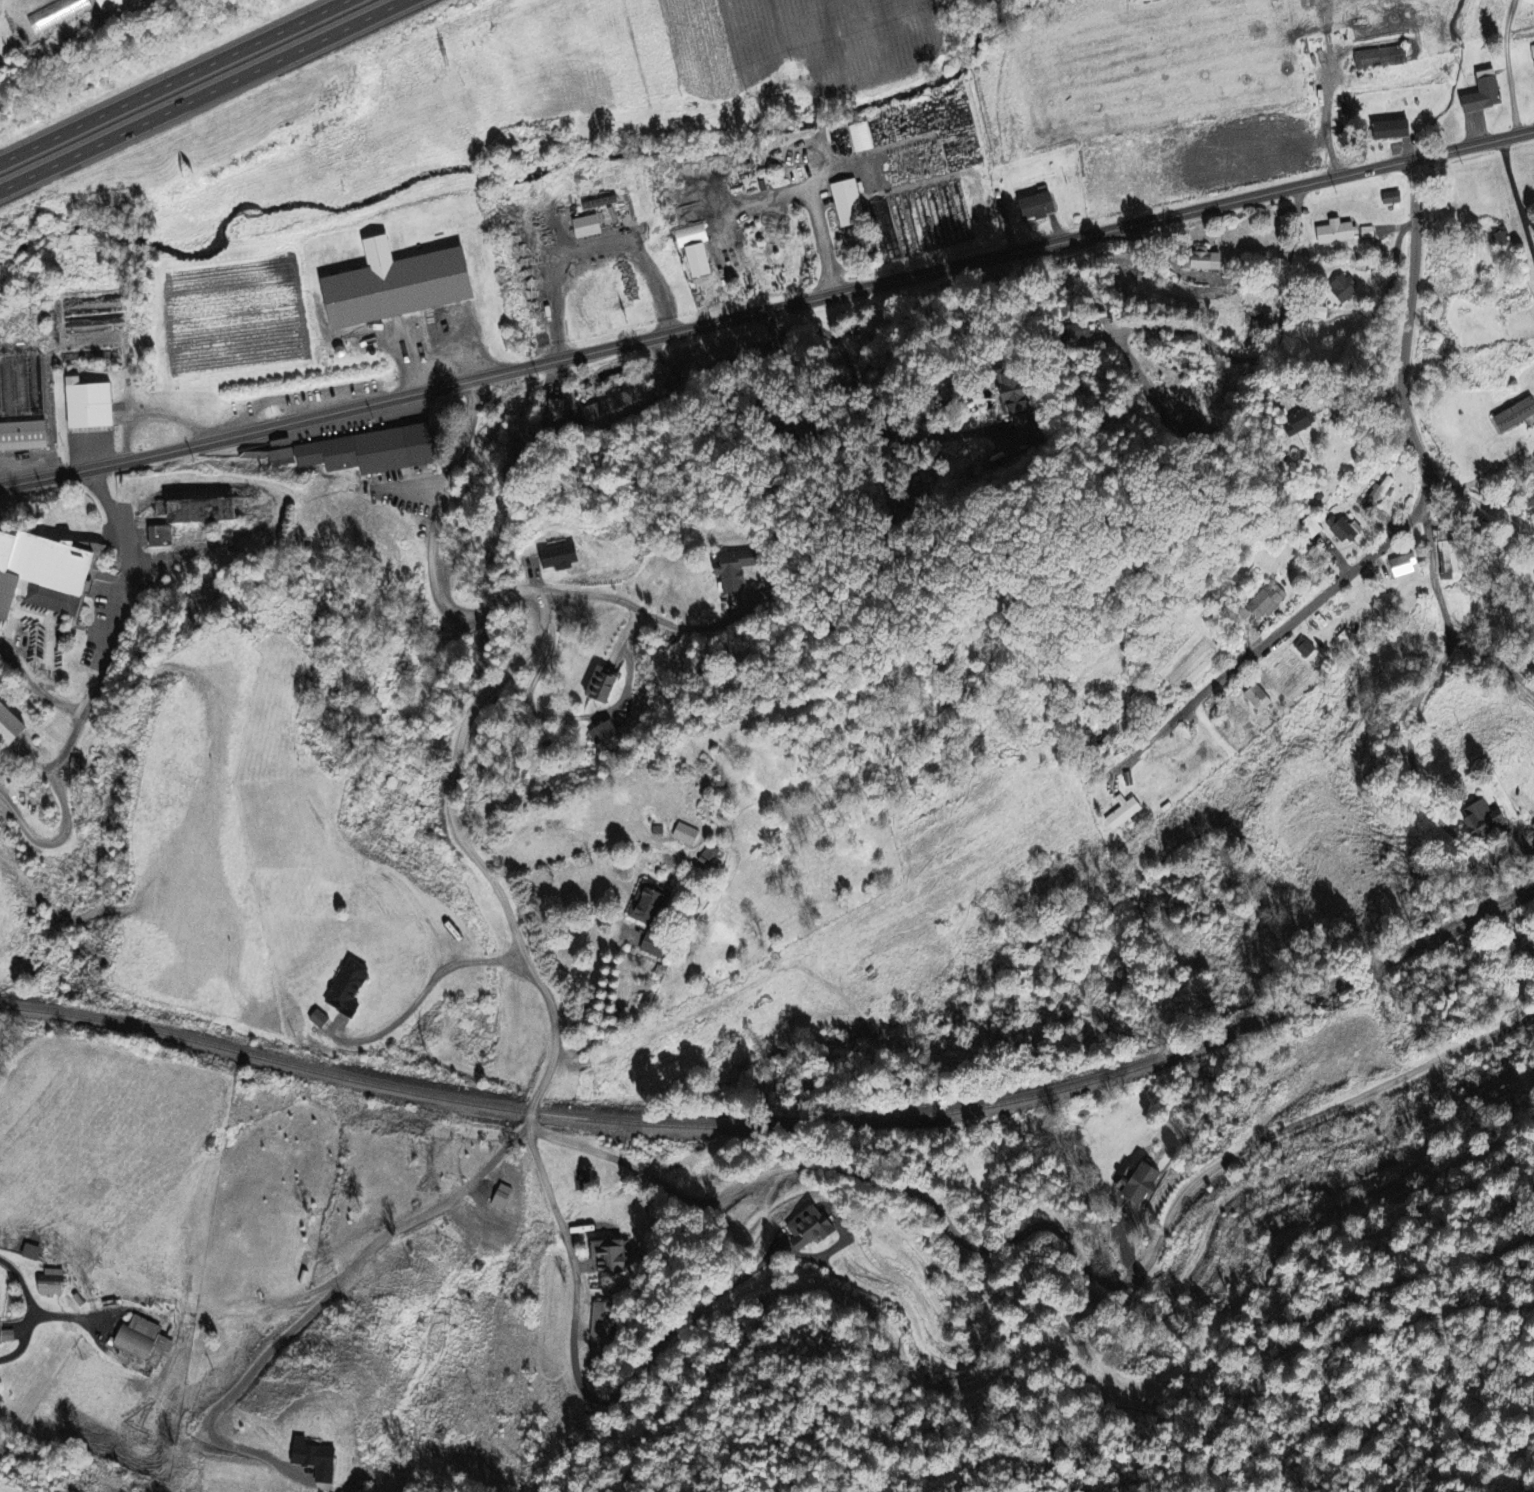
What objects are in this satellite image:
building: (1149, 1)
building: (109, 3)
building: (1532, 53)
building: (1384, 58)
road: (1511, 66)
road: (175, 82)
building: (1487, 95)
road: (208, 97)
building: (1400, 130)
building: (861, 139)
road: (1477, 144)
building: (1395, 199)
building: (851, 205)
building: (1042, 207)
building: (1344, 233)
building: (693, 236)
building: (1504, 237)
building: (701, 262)
building: (1206, 262)
building: (403, 286)
building: (1346, 288)
road: (711, 325)
road: (1362, 328)
road: (1266, 359)
building: (20, 388)
building: (1020, 401)
building: (91, 405)
building: (624, 406)
road: (838, 406)
building: (557, 410)
building: (1517, 417)
building: (1028, 429)
building: (25, 437)
building: (361, 452)
building: (1382, 491)
road: (1469, 493)
road: (1406, 524)
building: (1347, 531)
building: (563, 558)
building: (1406, 566)
building: (736, 569)
building: (44, 575)
building: (1264, 604)
road: (646, 612)
road: (1440, 634)
road: (114, 646)
building: (1308, 649)
building: (606, 687)
building: (1258, 699)
road: (572, 717)
building: (13, 727)
building: (606, 732)
building: (79, 771)
road: (66, 808)
building: (1127, 815)
building: (1488, 820)
building: (688, 835)
road: (471, 850)
building: (652, 906)
building: (659, 948)
building: (353, 990)
road: (426, 990)
road: (606, 1000)
building: (322, 1020)
railway: (783, 1125)
building: (1143, 1184)
building: (813, 1231)
road: (1063, 1243)
building: (34, 1253)
building: (610, 1256)
building: (55, 1283)
road: (31, 1309)
building: (603, 1321)
building: (7, 1336)
building: (146, 1342)
road: (1085, 1380)
building: (1, 1486)

